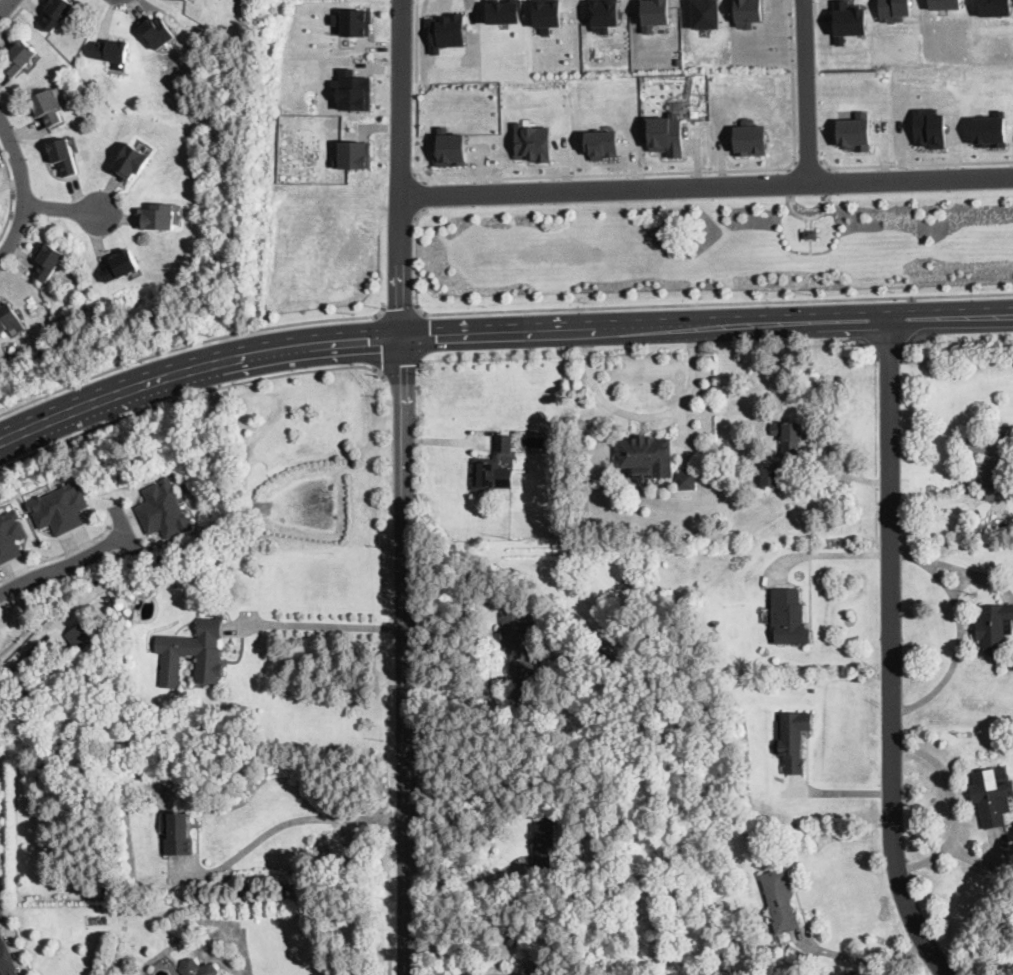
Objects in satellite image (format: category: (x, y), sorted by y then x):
building: (184, 0)
road: (4, 4)
building: (944, 4)
building: (995, 7)
building: (894, 9)
building: (506, 11)
building: (746, 12)
building: (57, 13)
building: (654, 13)
building: (705, 13)
building: (548, 14)
building: (605, 14)
road: (15, 17)
building: (848, 19)
building: (357, 22)
building: (450, 30)
building: (157, 31)
building: (111, 50)
building: (21, 58)
building: (353, 90)
road: (806, 90)
building: (49, 107)
building: (930, 128)
building: (990, 130)
building: (856, 131)
building: (667, 133)
building: (749, 137)
building: (535, 143)
building: (603, 144)
building: (454, 148)
building: (356, 154)
building: (65, 155)
building: (131, 163)
road: (915, 163)
road: (807, 165)
road: (403, 168)
road: (600, 173)
road: (707, 185)
road: (24, 189)
road: (12, 194)
road: (422, 194)
road: (63, 207)
building: (158, 217)
building: (811, 233)
road: (417, 258)
building: (50, 262)
building: (121, 266)
building: (90, 299)
road: (717, 302)
road: (403, 311)
building: (9, 319)
road: (815, 321)
road: (509, 332)
road: (423, 335)
traffic signals: (401, 336)
road: (380, 343)
road: (191, 345)
road: (195, 367)
road: (401, 369)
road: (190, 396)
road: (649, 415)
building: (791, 438)
building: (647, 454)
building: (991, 465)
building: (495, 467)
building: (722, 475)
building: (771, 475)
building: (687, 481)
building: (60, 507)
building: (164, 509)
building: (10, 535)
road: (840, 554)
road: (58, 555)
road: (66, 567)
building: (183, 571)
building: (789, 618)
road: (322, 625)
road: (957, 629)
building: (995, 629)
building: (82, 634)
building: (519, 642)
building: (210, 651)
road: (893, 653)
road: (403, 655)
building: (579, 660)
building: (794, 740)
building: (993, 795)
road: (289, 822)
building: (179, 835)
building: (545, 842)
road: (467, 879)
building: (781, 900)
road: (245, 948)
building: (7, 958)
road: (867, 962)
building: (726, 964)
building: (197, 968)
road: (469, 974)

